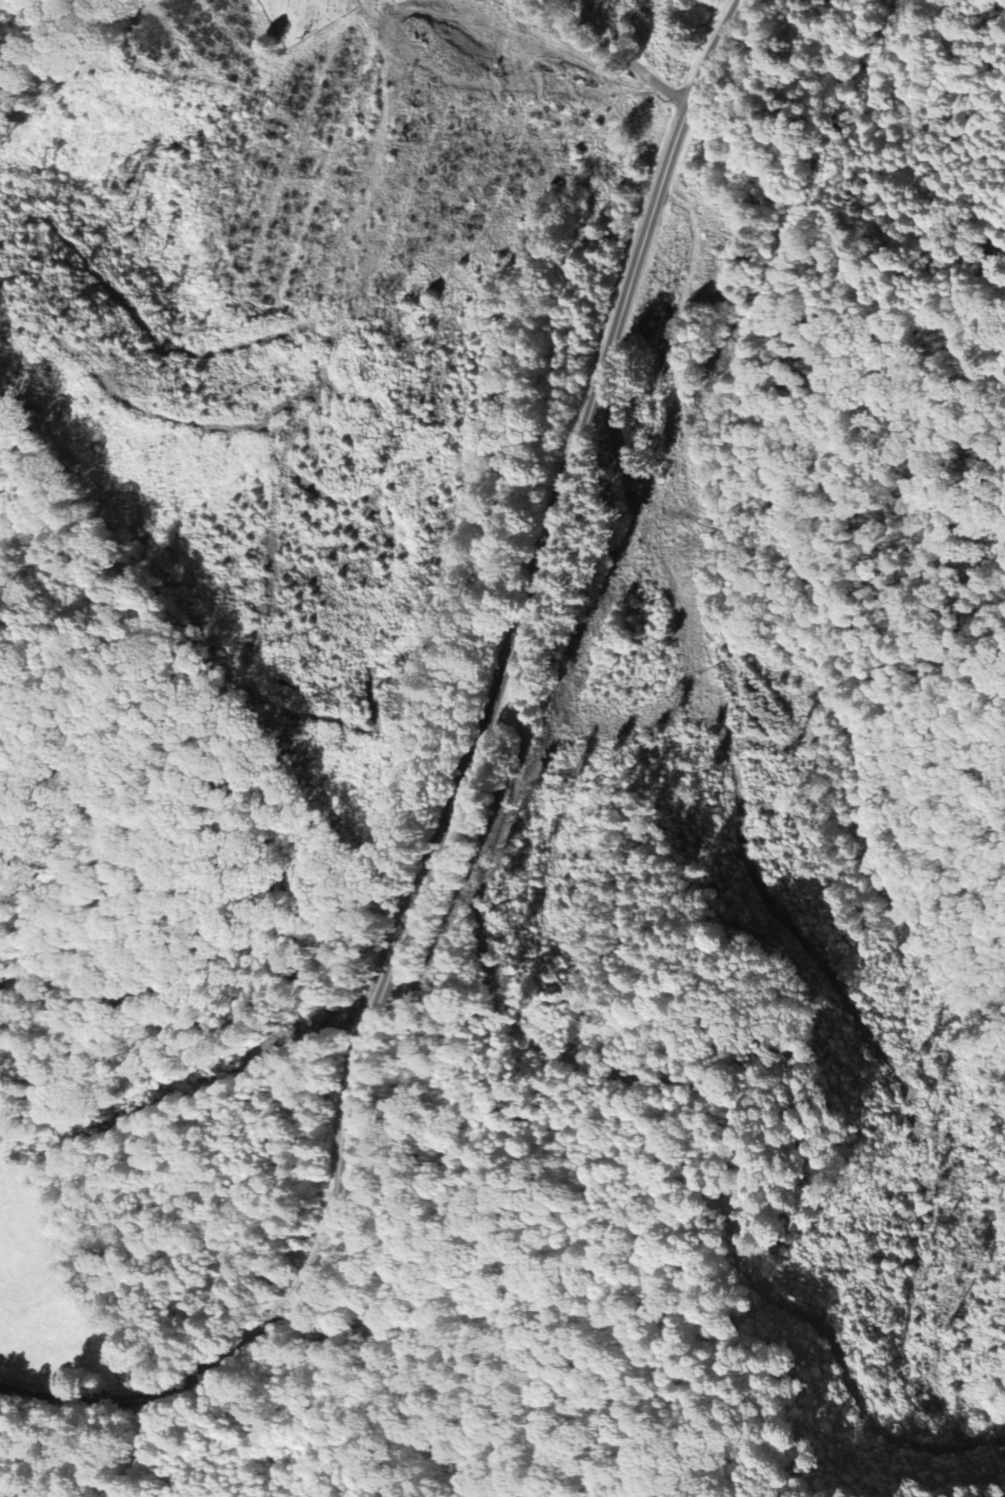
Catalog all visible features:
park: (301, 15)
road: (616, 52)
road: (451, 802)
road: (142, 1449)

